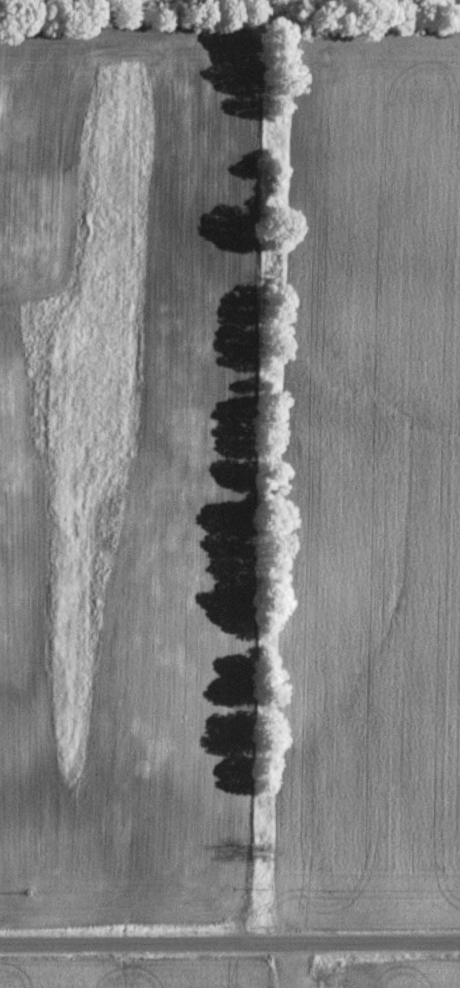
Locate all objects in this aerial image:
road: (230, 946)

